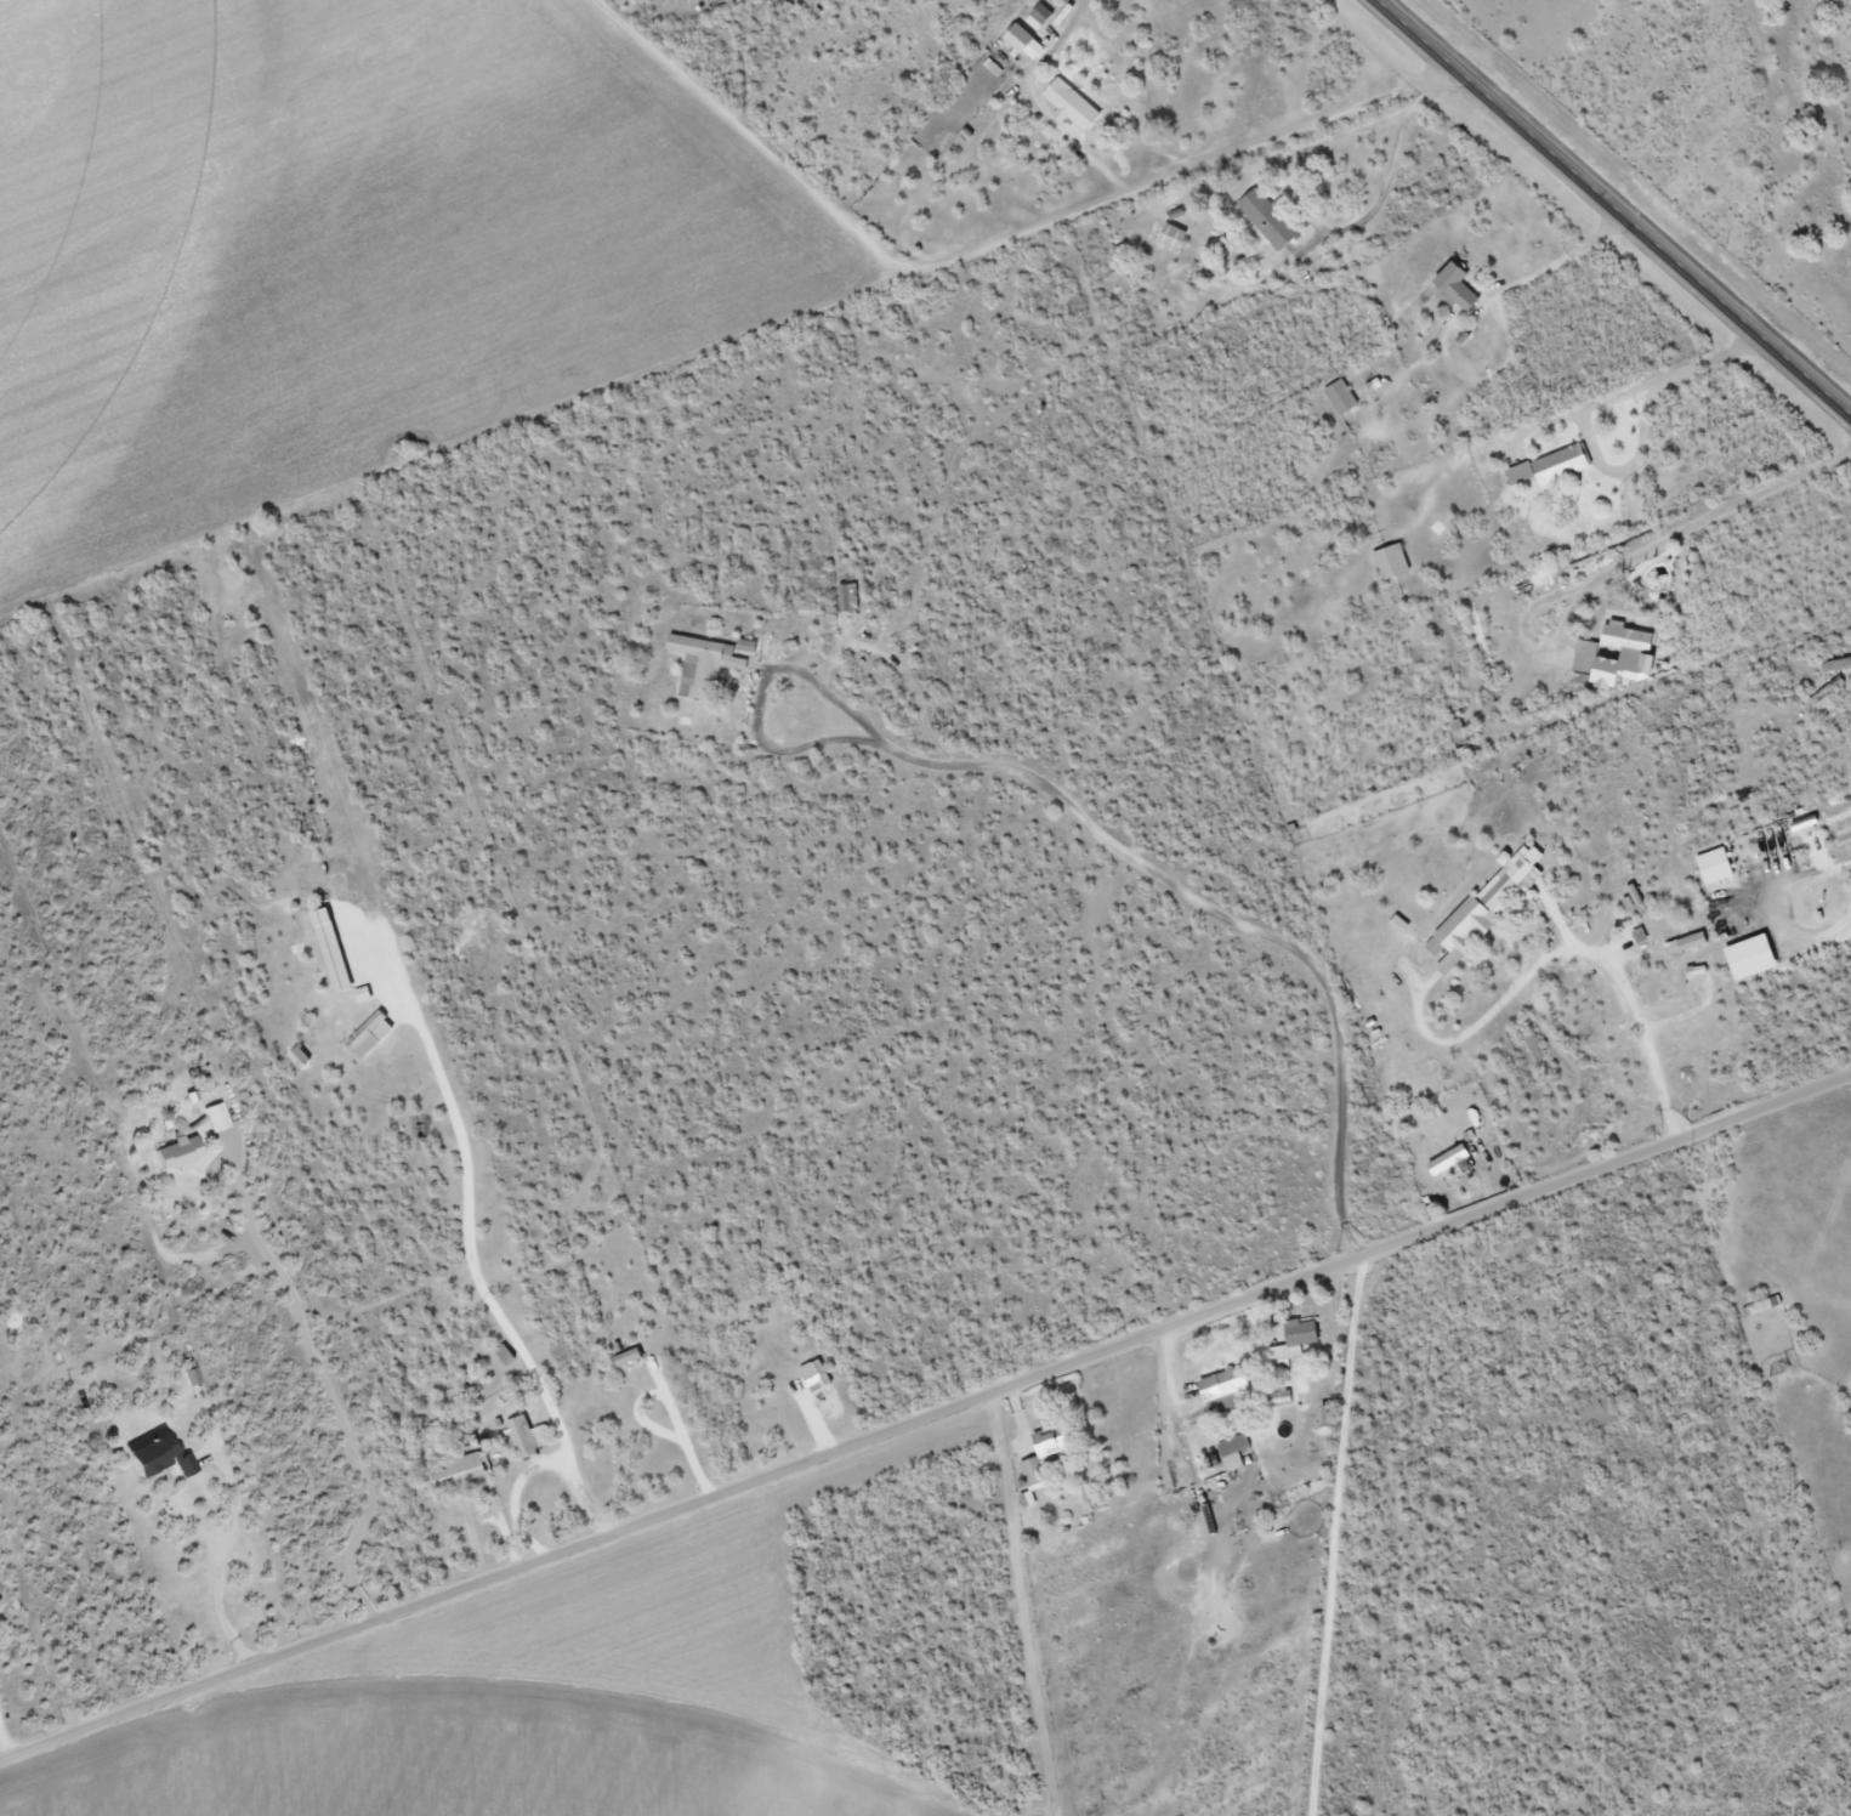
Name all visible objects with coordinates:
building: (1013, 38)
building: (1067, 106)
railway: (1668, 161)
road: (1618, 204)
building: (1265, 219)
building: (1168, 237)
building: (1450, 288)
building: (1336, 398)
building: (1548, 467)
building: (1386, 563)
building: (845, 598)
building: (1608, 659)
building: (699, 665)
building: (1629, 896)
building: (1476, 910)
building: (1683, 966)
building: (214, 1118)
building: (175, 1154)
building: (1447, 1162)
building: (1759, 1307)
building: (1290, 1343)
building: (623, 1358)
building: (186, 1374)
building: (804, 1381)
building: (1220, 1392)
building: (1591, 1411)
road: (925, 1417)
building: (524, 1436)
building: (1230, 1454)
building: (154, 1457)
building: (1040, 1463)
building: (456, 1471)
road: (1397, 1533)

